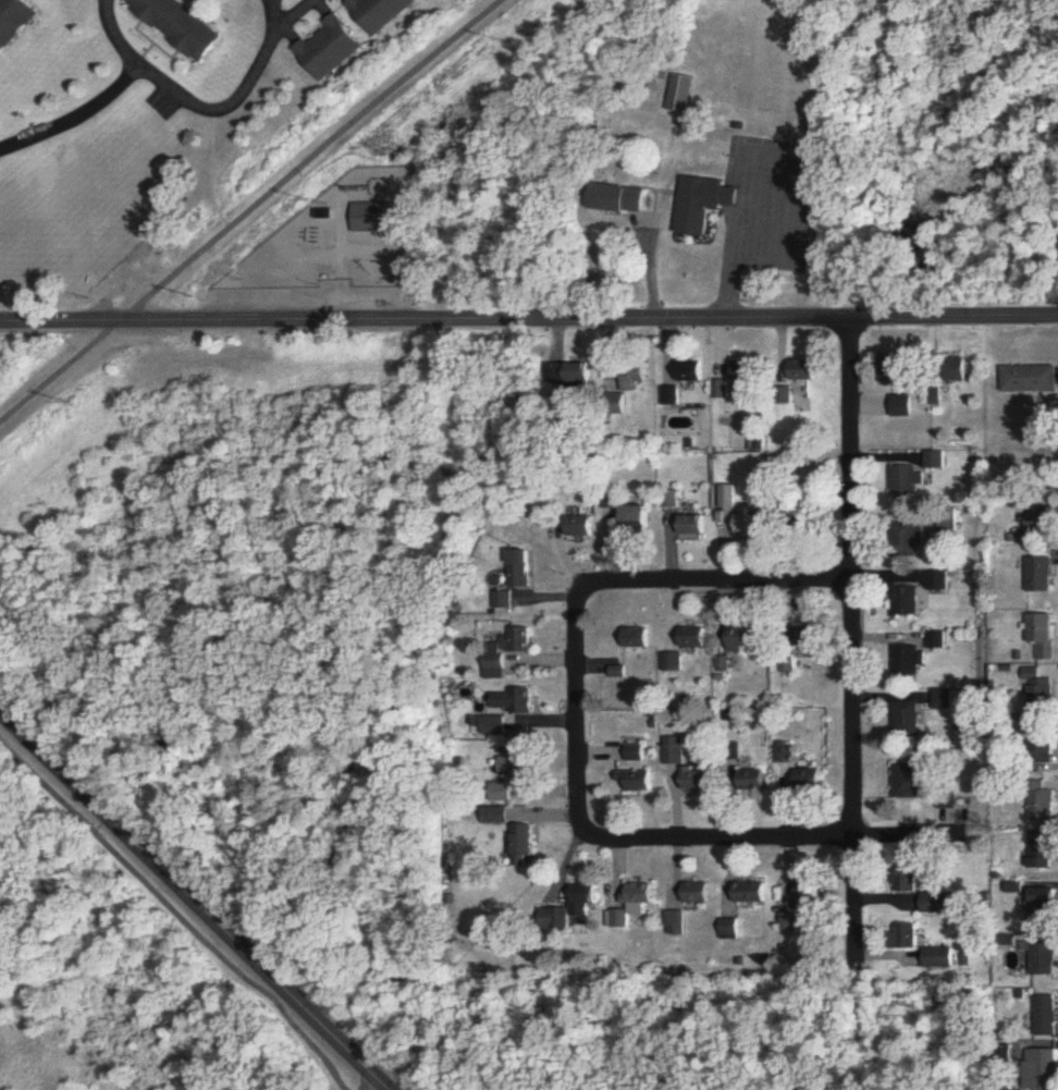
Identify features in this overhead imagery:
building: (214, 0)
road: (290, 12)
building: (379, 13)
building: (13, 20)
building: (179, 26)
road: (115, 34)
building: (329, 48)
road: (232, 98)
road: (75, 113)
building: (701, 204)
road: (247, 209)
building: (298, 238)
road: (528, 322)
building: (957, 367)
building: (896, 369)
building: (803, 370)
building: (748, 371)
building: (692, 372)
building: (580, 373)
building: (635, 378)
building: (1031, 379)
building: (934, 395)
building: (669, 396)
building: (900, 406)
building: (932, 462)
building: (902, 482)
building: (611, 500)
building: (669, 501)
building: (1041, 515)
building: (638, 522)
building: (943, 525)
building: (692, 526)
building: (749, 526)
building: (580, 528)
building: (905, 541)
building: (521, 571)
building: (1039, 576)
road: (717, 585)
building: (503, 601)
building: (901, 602)
building: (693, 637)
building: (1041, 637)
building: (637, 638)
building: (746, 638)
building: (932, 640)
building: (798, 642)
building: (507, 651)
road: (849, 651)
building: (902, 661)
building: (673, 662)
building: (1037, 691)
building: (939, 699)
building: (521, 701)
building: (902, 720)
building: (493, 725)
road: (577, 730)
building: (1041, 748)
building: (674, 751)
building: (635, 754)
building: (517, 766)
building: (696, 779)
building: (750, 780)
building: (638, 781)
building: (807, 781)
building: (905, 781)
building: (1042, 805)
road: (790, 840)
building: (525, 842)
building: (1042, 850)
building: (903, 880)
building: (749, 893)
building: (697, 894)
building: (639, 895)
building: (810, 896)
road: (195, 899)
building: (582, 899)
building: (938, 903)
building: (1042, 908)
road: (175, 915)
building: (553, 919)
building: (617, 919)
building: (728, 929)
building: (907, 938)
building: (939, 958)
building: (1043, 958)
building: (1044, 1016)
building: (1041, 1069)
park: (345, 1080)
road: (373, 1085)

